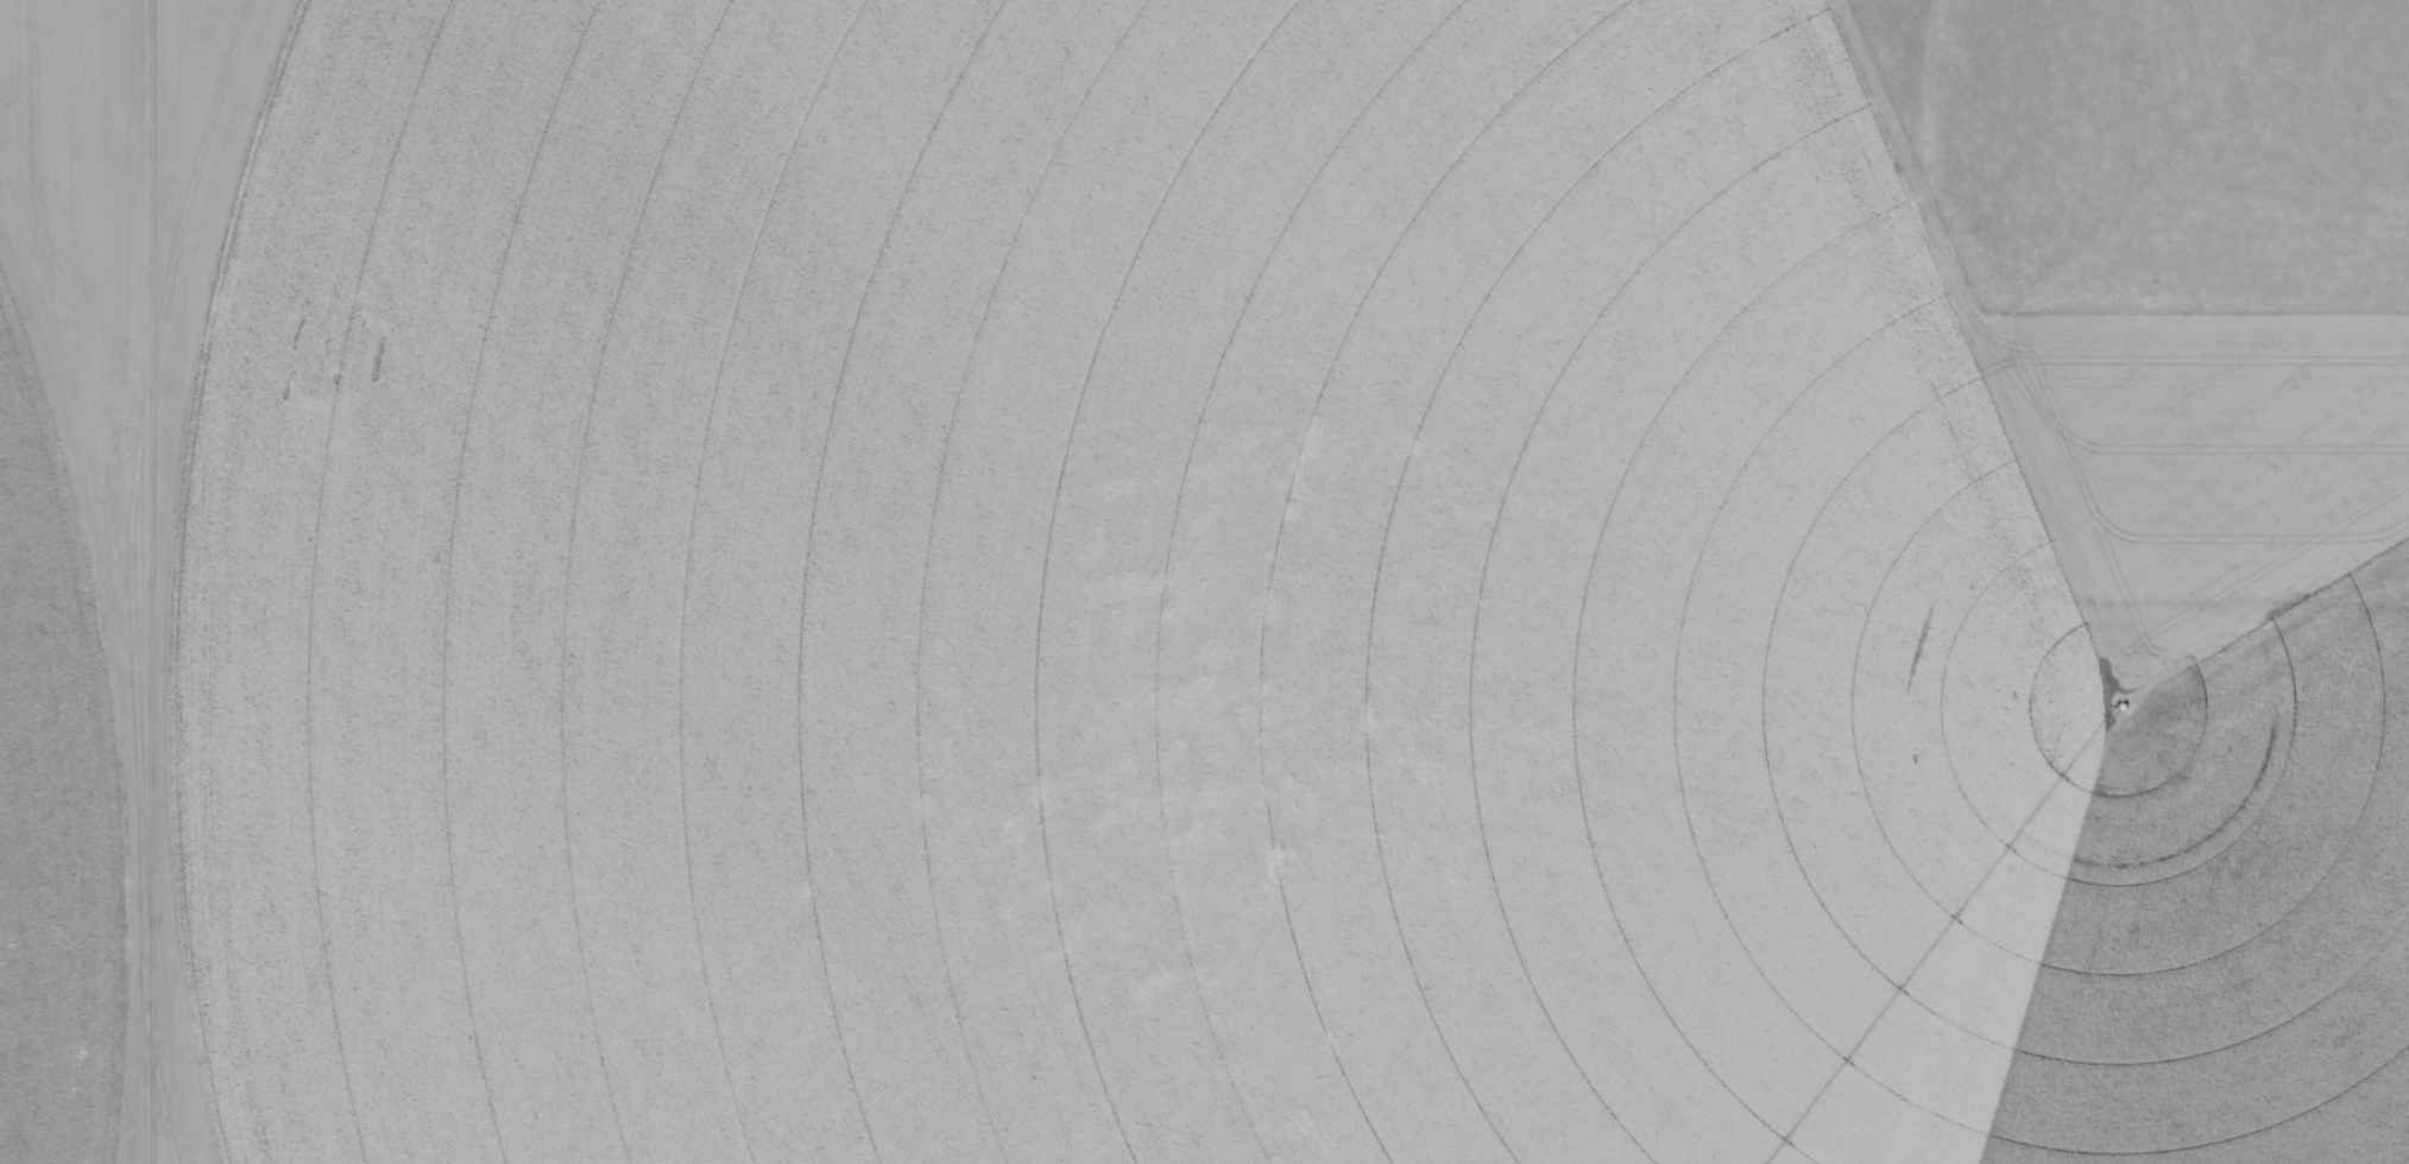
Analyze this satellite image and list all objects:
road: (204, 582)

